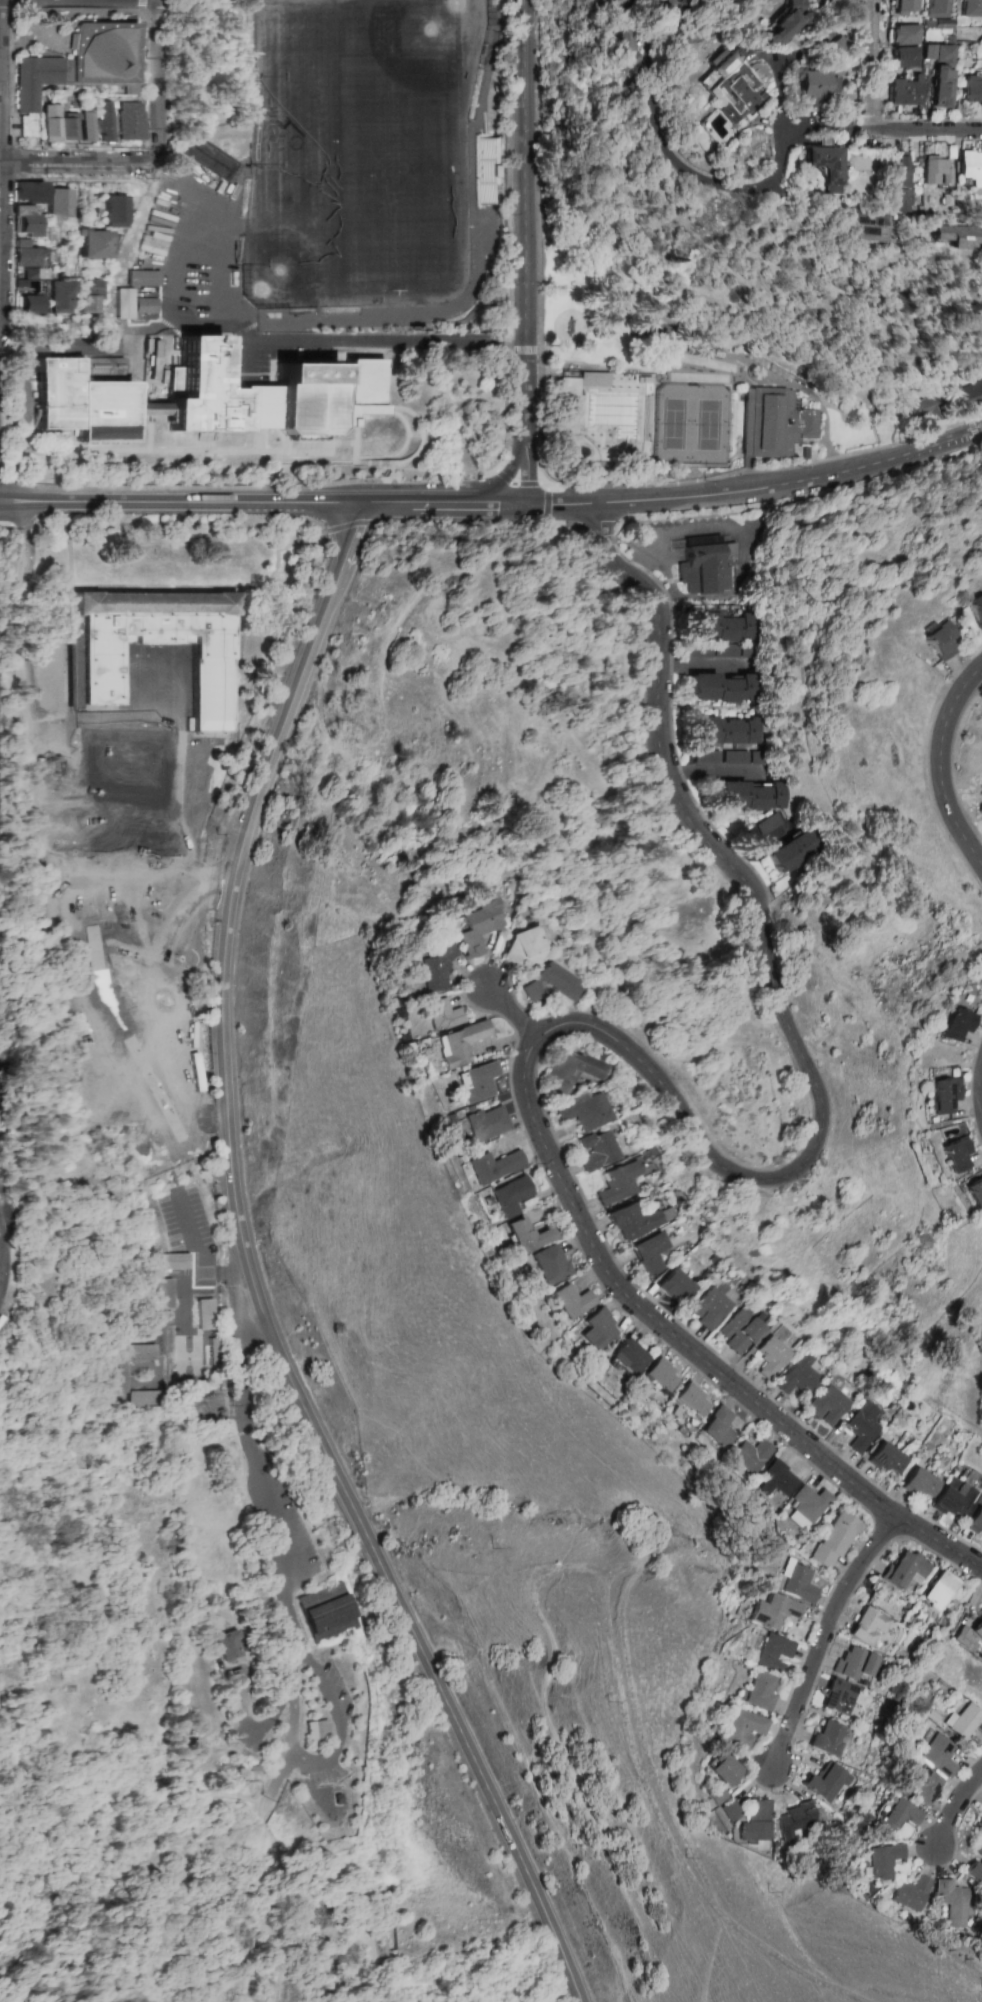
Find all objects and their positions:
building: (681, 1)
building: (695, 1)
building: (817, 1)
building: (612, 2)
road: (145, 3)
building: (904, 6)
building: (937, 8)
building: (970, 8)
road: (145, 9)
road: (99, 11)
building: (784, 23)
building: (904, 35)
building: (623, 47)
park: (417, 53)
building: (937, 53)
building: (108, 56)
building: (905, 57)
road: (875, 66)
park: (293, 70)
building: (39, 79)
road: (151, 79)
road: (163, 80)
road: (1, 83)
building: (729, 86)
road: (780, 86)
building: (816, 86)
building: (941, 88)
road: (646, 89)
building: (971, 89)
building: (904, 92)
building: (103, 121)
building: (130, 121)
building: (57, 124)
building: (30, 125)
building: (86, 126)
road: (15, 127)
road: (929, 133)
road: (780, 161)
building: (867, 163)
building: (823, 166)
road: (80, 167)
building: (970, 168)
building: (485, 170)
building: (935, 171)
park: (393, 173)
building: (899, 182)
building: (29, 192)
building: (59, 204)
building: (116, 211)
road: (526, 213)
building: (25, 221)
building: (864, 227)
building: (953, 236)
building: (94, 244)
building: (152, 244)
park: (301, 249)
building: (29, 260)
building: (143, 278)
building: (60, 296)
building: (90, 296)
building: (124, 303)
building: (27, 304)
building: (145, 305)
road: (39, 332)
park: (671, 332)
road: (711, 340)
road: (364, 342)
building: (594, 380)
building: (359, 389)
building: (196, 391)
building: (969, 395)
building: (306, 399)
building: (83, 403)
building: (569, 406)
building: (921, 406)
building: (258, 407)
park: (689, 424)
building: (775, 424)
road: (977, 434)
road: (149, 451)
road: (525, 465)
road: (509, 467)
road: (492, 468)
road: (757, 490)
road: (179, 503)
road: (504, 503)
road: (426, 504)
road: (365, 505)
road: (6, 524)
road: (21, 525)
road: (744, 535)
road: (302, 541)
road: (603, 541)
road: (616, 544)
building: (707, 565)
road: (163, 587)
building: (975, 608)
building: (719, 626)
building: (939, 640)
building: (719, 651)
road: (708, 668)
building: (93, 673)
building: (721, 688)
building: (725, 731)
road: (960, 750)
building: (736, 757)
road: (953, 762)
road: (939, 765)
building: (197, 771)
road: (718, 772)
road: (42, 776)
building: (749, 796)
building: (762, 828)
road: (771, 848)
building: (793, 852)
building: (473, 926)
building: (518, 946)
building: (431, 967)
building: (547, 983)
road: (779, 986)
building: (439, 1014)
road: (511, 1015)
building: (956, 1024)
building: (456, 1043)
building: (568, 1070)
building: (473, 1082)
building: (943, 1095)
building: (580, 1110)
building: (483, 1123)
building: (593, 1150)
building: (955, 1154)
building: (493, 1166)
building: (614, 1182)
building: (974, 1191)
building: (510, 1196)
building: (629, 1220)
building: (526, 1235)
building: (646, 1253)
road: (198, 1255)
road: (1, 1261)
building: (172, 1261)
building: (549, 1264)
road: (254, 1278)
building: (673, 1285)
building: (164, 1294)
building: (571, 1301)
building: (707, 1308)
building: (203, 1314)
building: (595, 1330)
building: (735, 1331)
road: (690, 1348)
building: (212, 1351)
building: (137, 1352)
building: (626, 1356)
building: (768, 1357)
building: (659, 1375)
building: (796, 1375)
building: (120, 1377)
building: (144, 1398)
building: (689, 1399)
building: (826, 1405)
building: (861, 1426)
building: (715, 1427)
building: (749, 1455)
building: (886, 1458)
road: (252, 1466)
building: (776, 1479)
building: (920, 1483)
building: (953, 1498)
building: (808, 1506)
building: (975, 1520)
parking lot: (284, 1525)
building: (834, 1539)
building: (905, 1570)
road: (549, 1576)
building: (797, 1584)
building: (938, 1590)
building: (770, 1611)
building: (328, 1612)
building: (868, 1626)
building: (976, 1629)
road: (823, 1633)
building: (228, 1646)
building: (771, 1653)
building: (855, 1663)
parking lot: (336, 1685)
building: (757, 1692)
building: (837, 1697)
building: (963, 1722)
building: (739, 1728)
building: (318, 1730)
building: (827, 1738)
building: (935, 1756)
road: (317, 1757)
building: (719, 1768)
road: (281, 1776)
building: (828, 1783)
building: (920, 1786)
building: (712, 1796)
road: (956, 1809)
building: (728, 1811)
building: (898, 1814)
building: (979, 1821)
building: (755, 1822)
building: (797, 1822)
road: (253, 1860)
building: (881, 1860)
building: (976, 1866)
road: (702, 1884)
road: (344, 1886)
building: (910, 1894)
building: (954, 1902)
park: (293, 1996)

